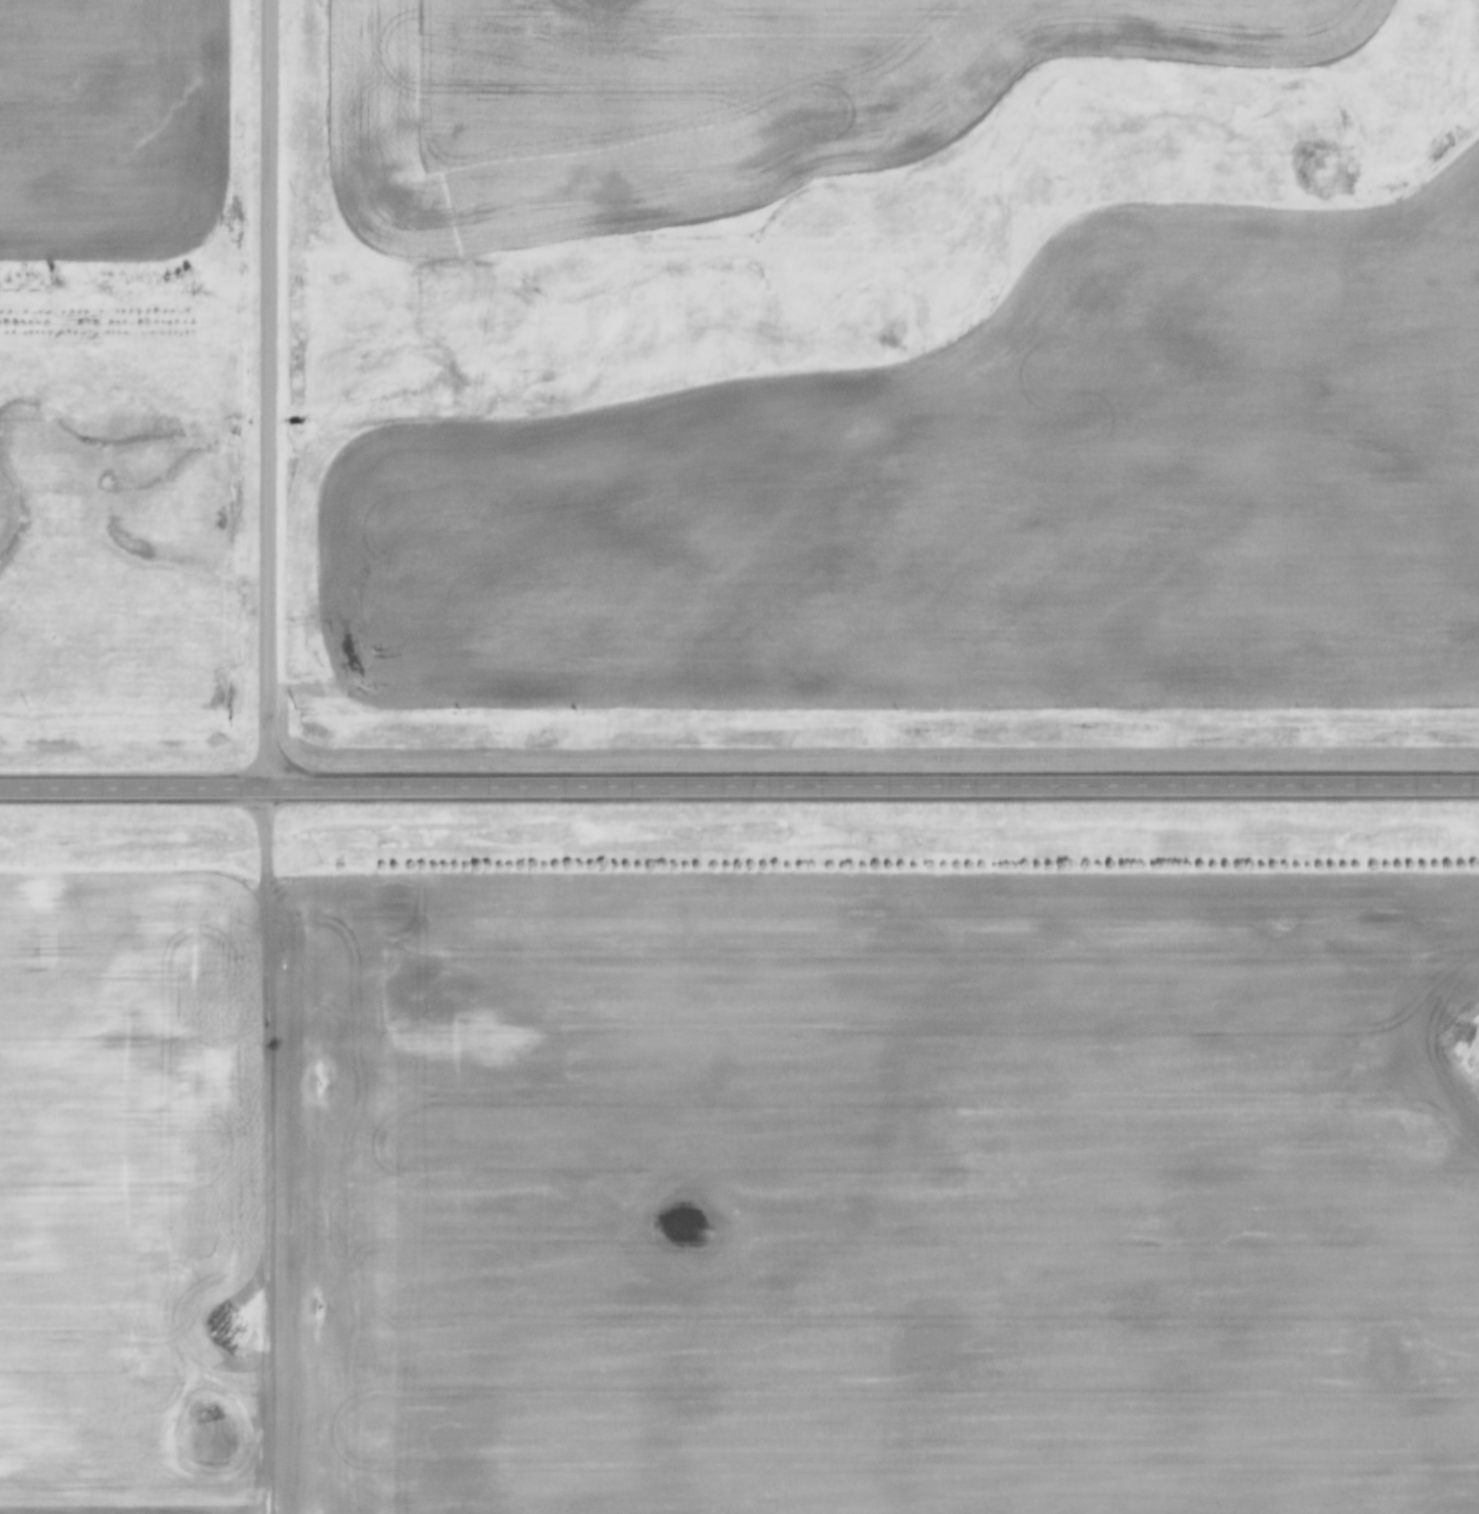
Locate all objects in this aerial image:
road: (268, 394)
road: (739, 787)
road: (267, 1151)

